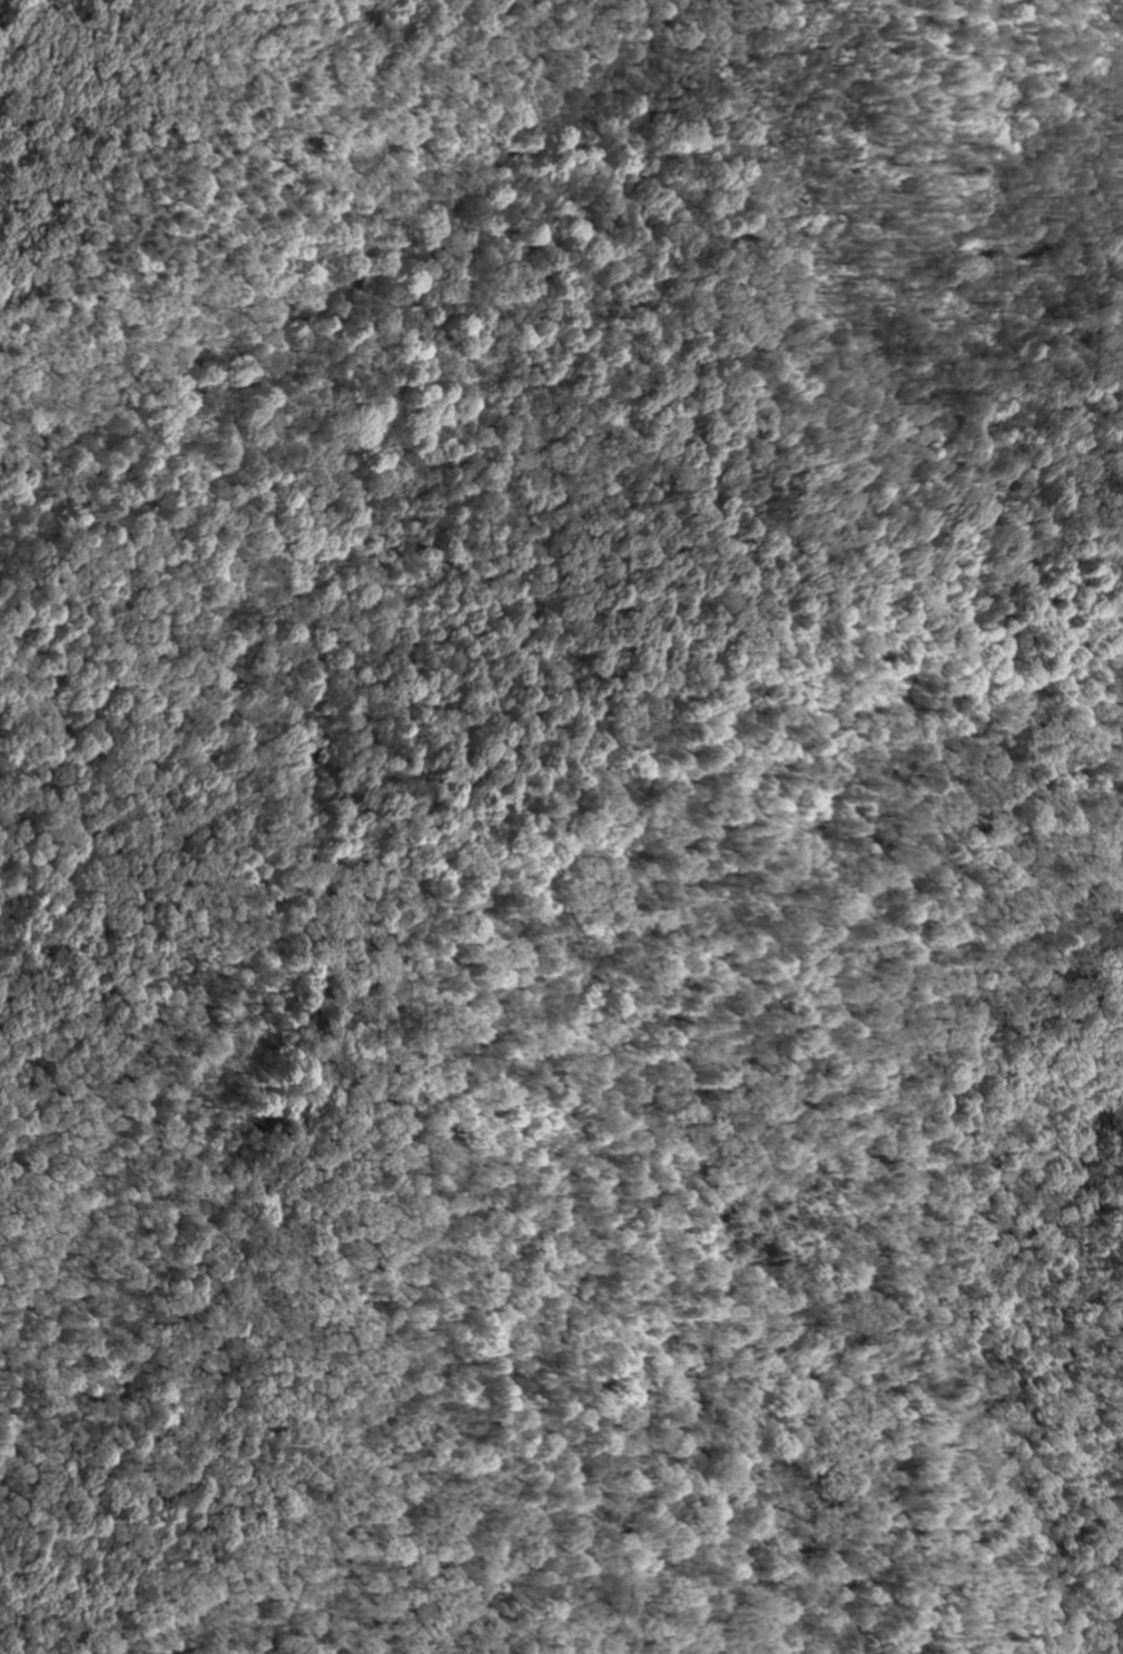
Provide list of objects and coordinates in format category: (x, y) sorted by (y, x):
road: (1112, 77)
road: (948, 156)
road: (414, 489)

